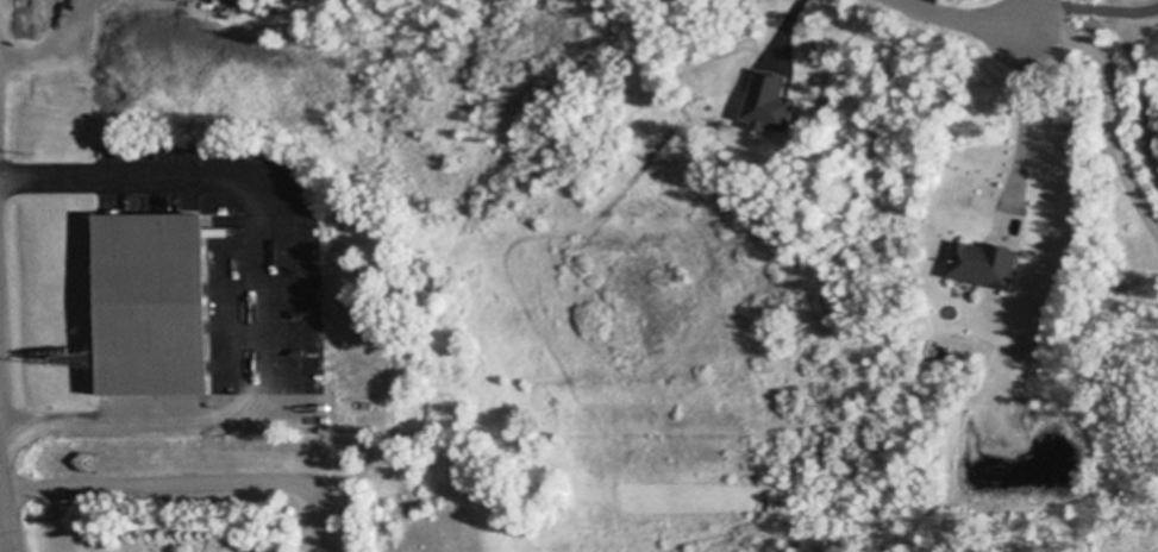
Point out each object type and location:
road: (1093, 11)
road: (962, 20)
road: (785, 31)
road: (57, 51)
building: (764, 106)
road: (1114, 109)
road: (1022, 124)
building: (213, 232)
building: (985, 262)
road: (280, 299)
building: (154, 302)
building: (86, 454)
road: (189, 488)
road: (4, 532)

